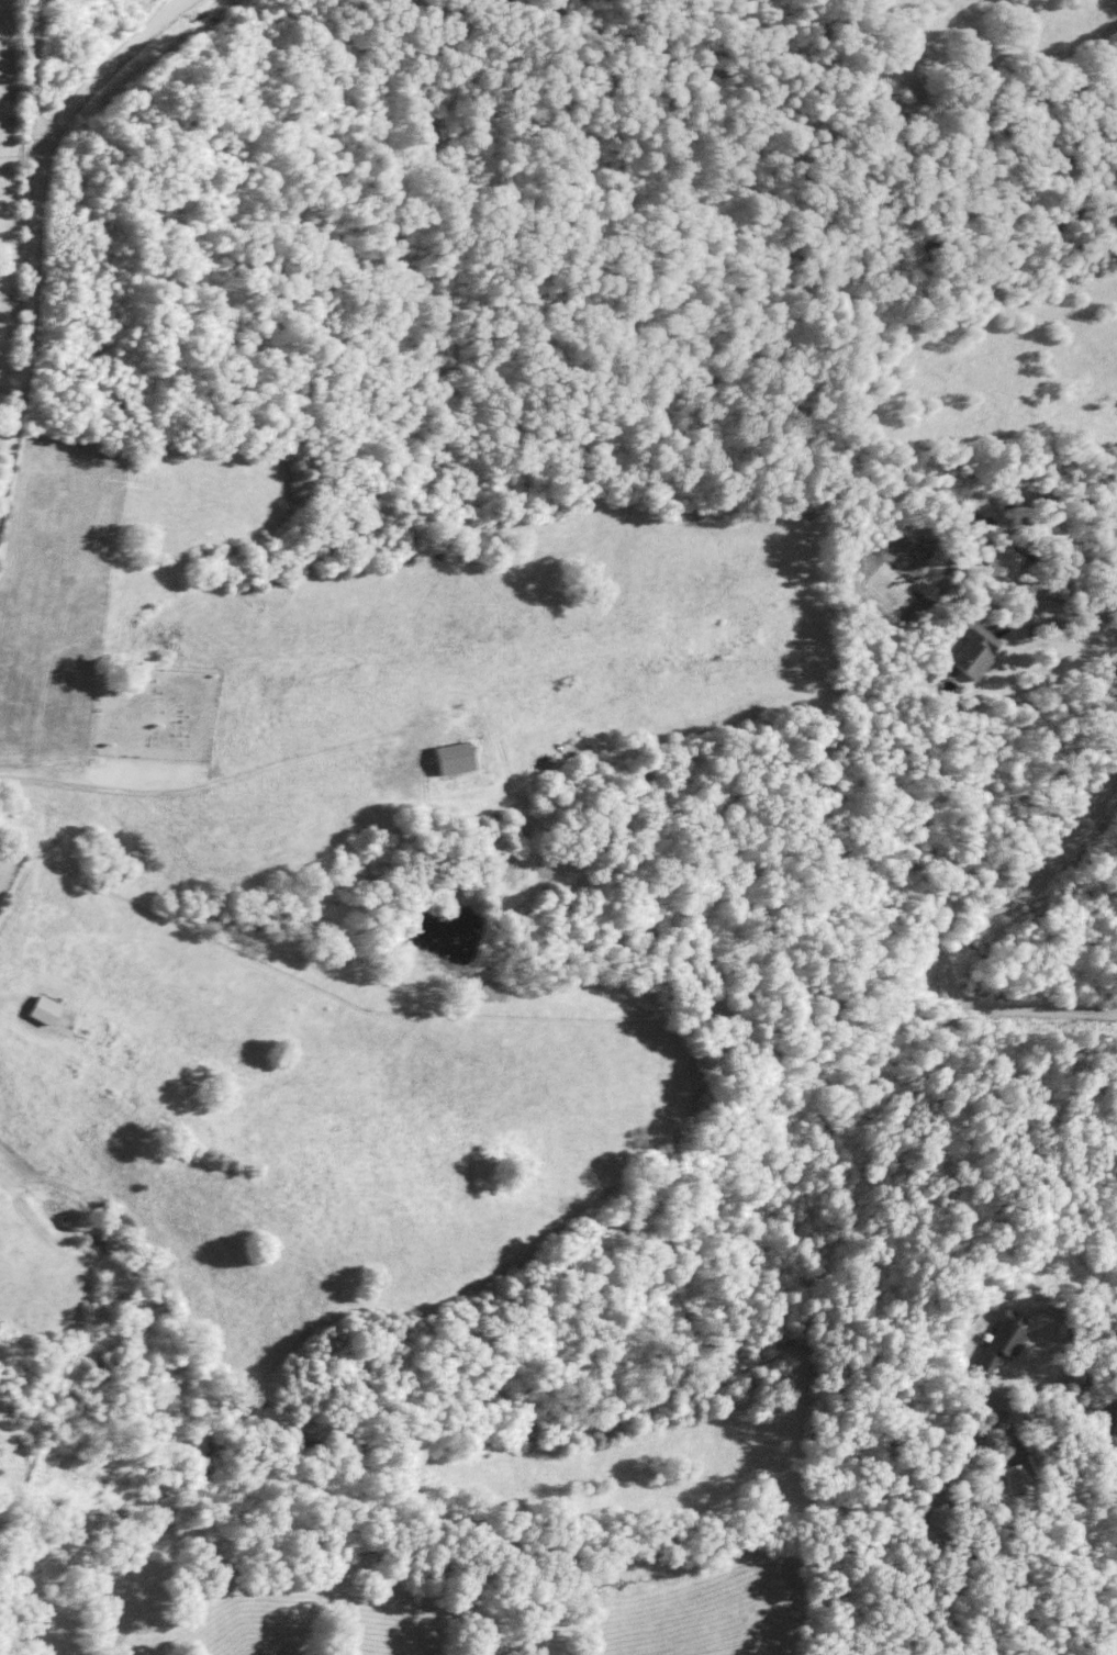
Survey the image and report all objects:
road: (31, 213)
building: (992, 566)
road: (1084, 619)
building: (964, 651)
building: (443, 757)
road: (953, 924)
building: (994, 1340)
building: (1009, 1476)

